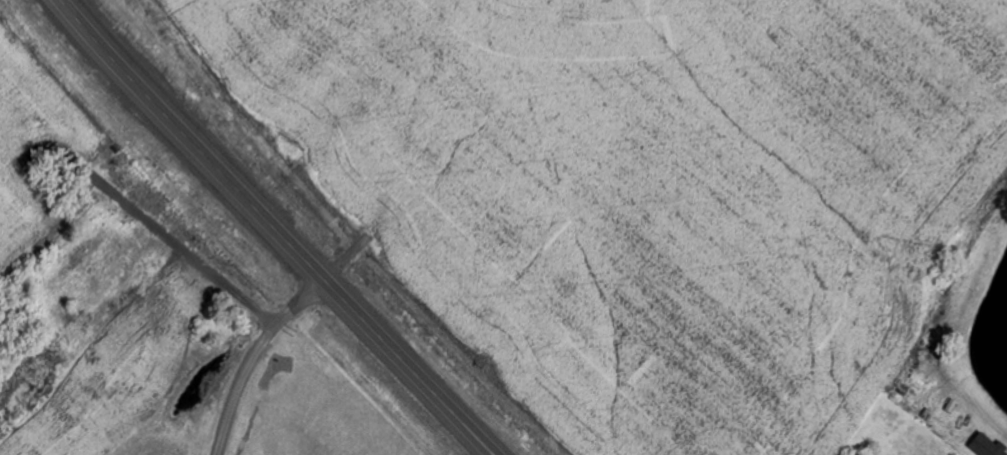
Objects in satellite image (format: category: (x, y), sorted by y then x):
road: (276, 229)
building: (989, 445)

